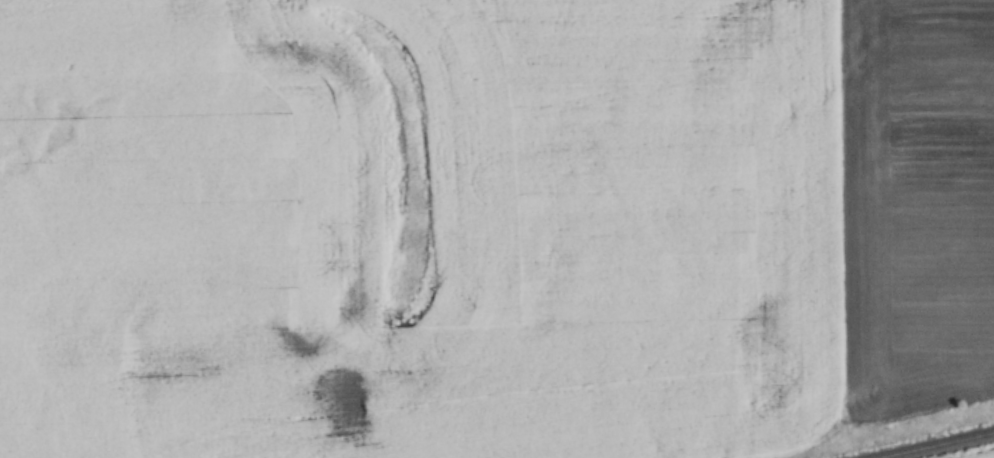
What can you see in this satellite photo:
railway: (932, 444)

